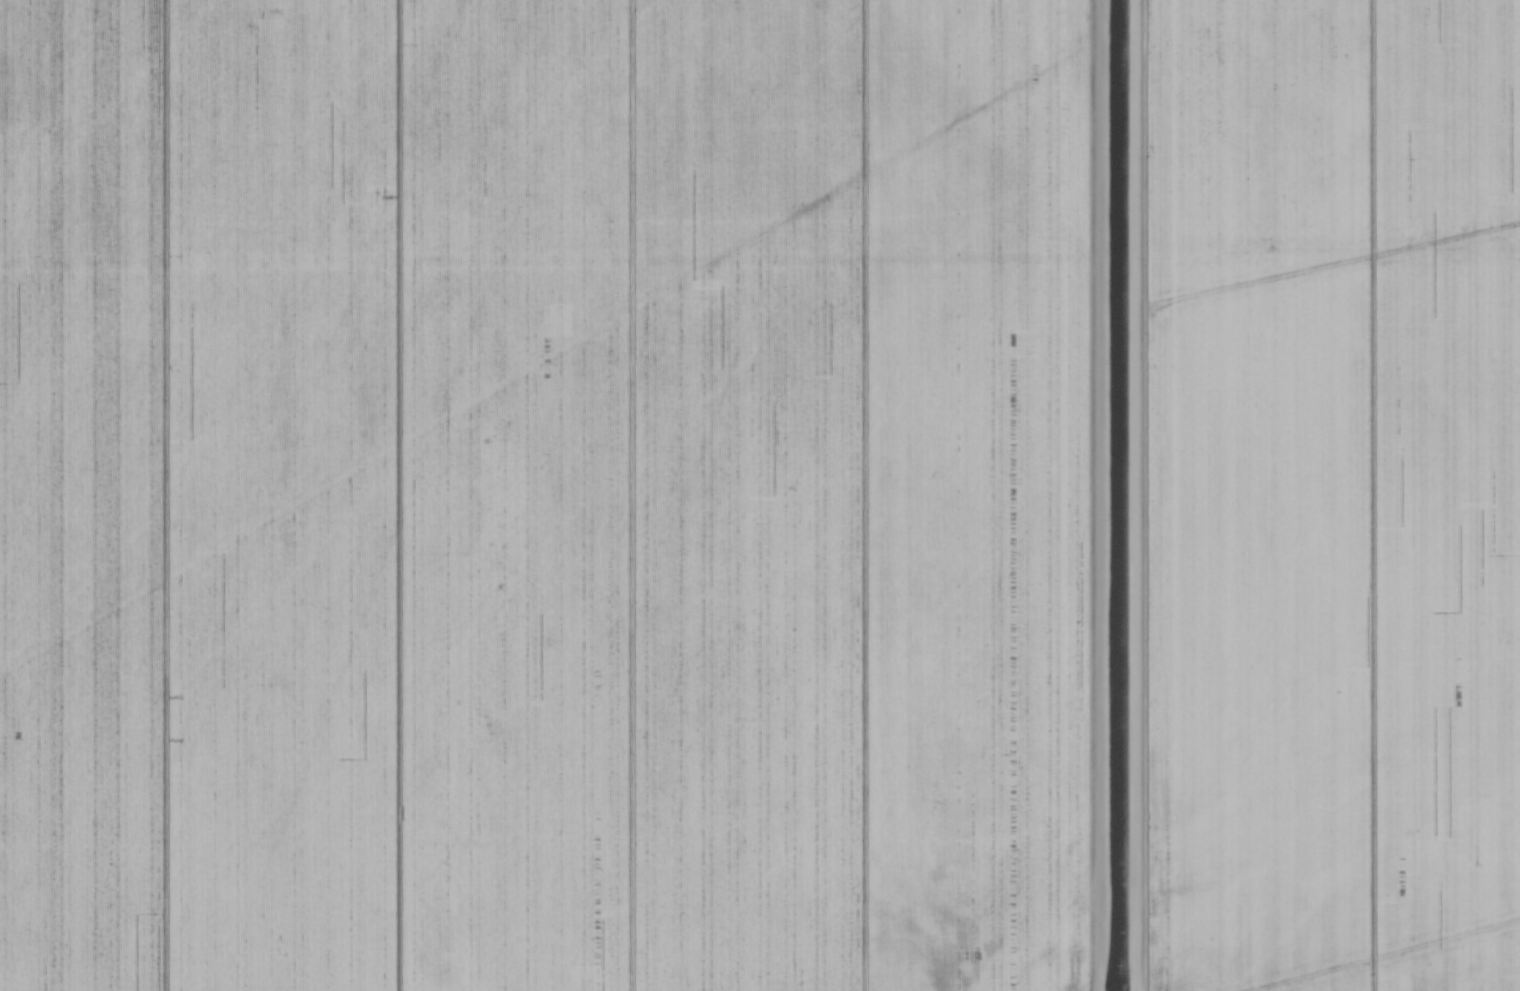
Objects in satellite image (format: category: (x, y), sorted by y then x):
road: (1132, 495)

